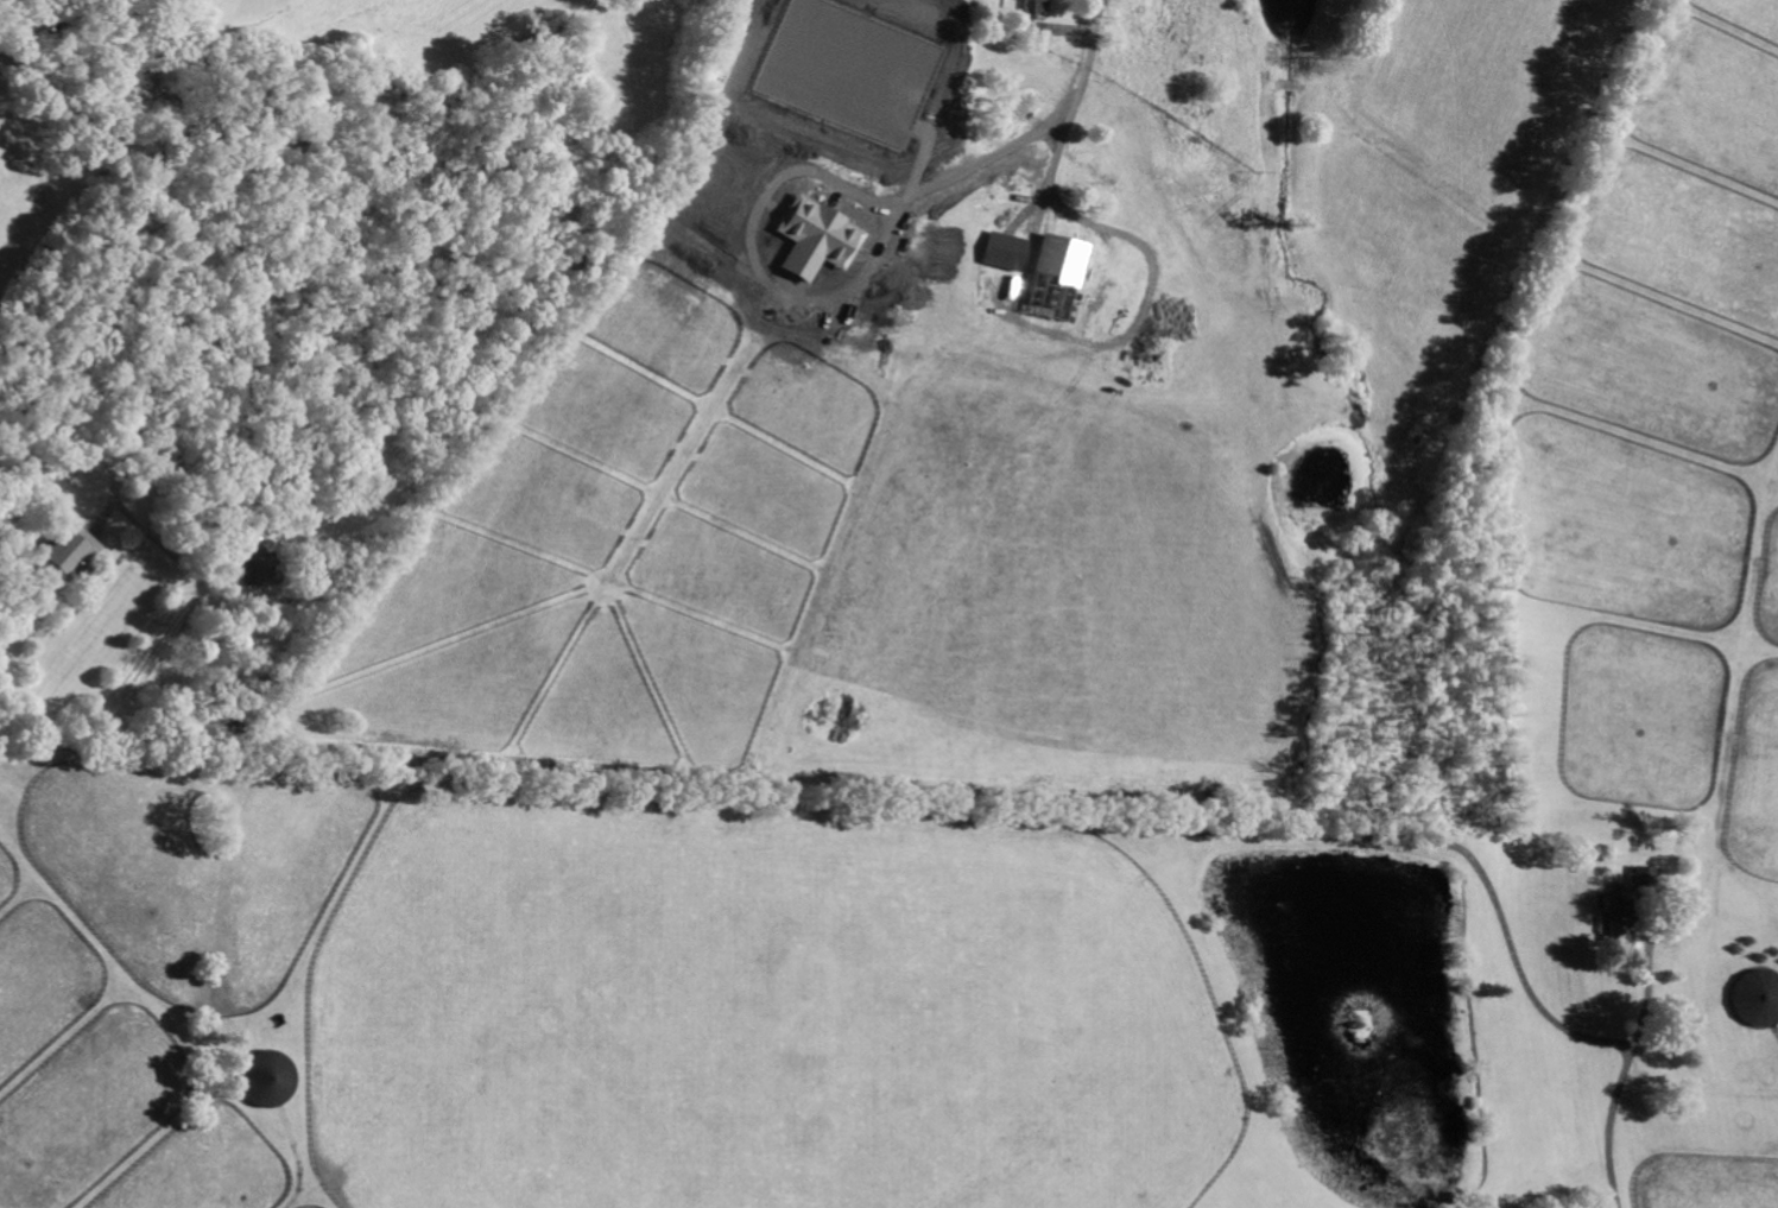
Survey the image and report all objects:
road: (1076, 100)
building: (1005, 251)
building: (1055, 277)
road: (176, 318)
building: (71, 550)
building: (258, 568)
building: (1645, 875)
building: (1619, 921)
road: (1616, 1119)

